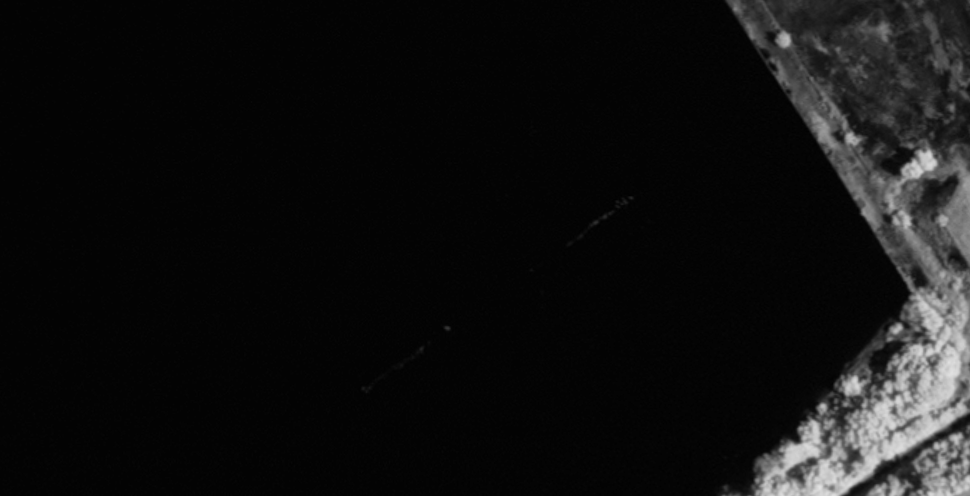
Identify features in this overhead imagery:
park: (905, 454)
road: (907, 456)

